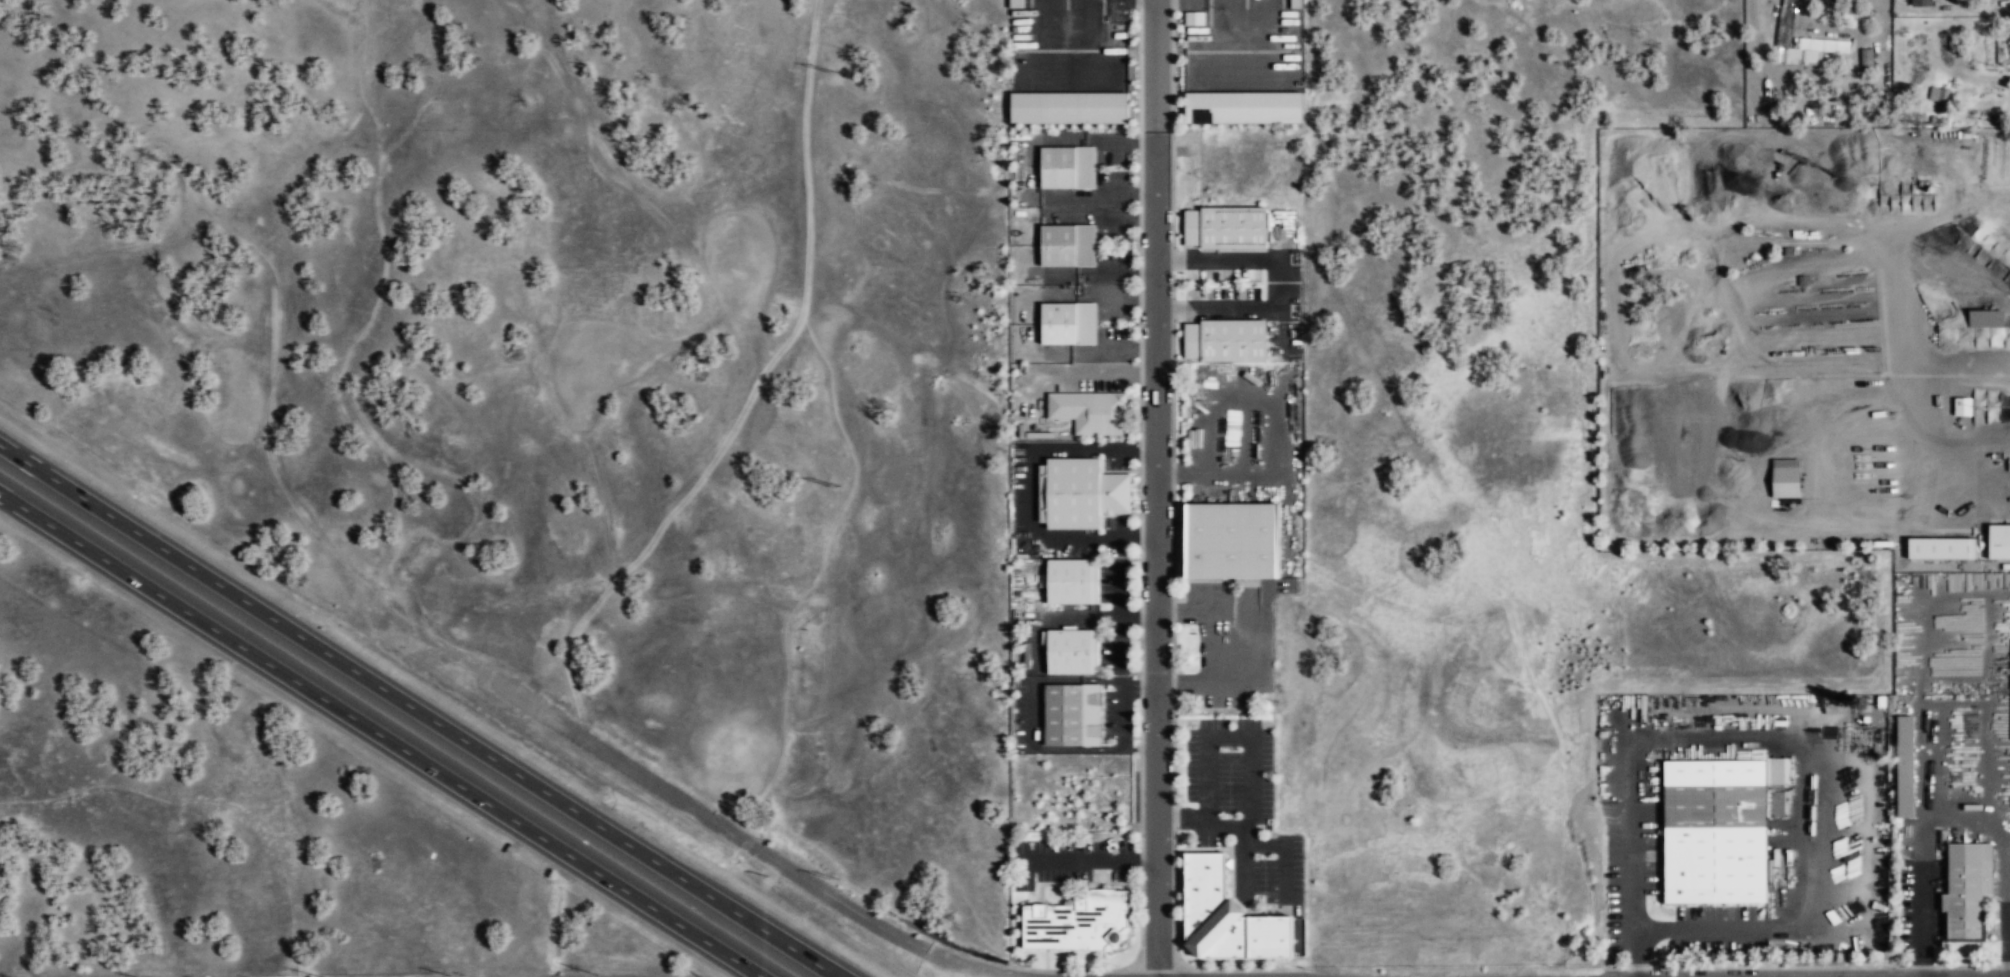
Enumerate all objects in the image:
building: (1921, 2)
building: (1295, 4)
building: (1785, 23)
building: (1823, 45)
power tower: (833, 74)
building: (1856, 89)
building: (1938, 98)
building: (1069, 107)
building: (1243, 107)
building: (1067, 167)
building: (1224, 227)
building: (1068, 245)
building: (1986, 318)
building: (1068, 323)
building: (1224, 340)
quarry: (1805, 340)
building: (1099, 413)
building: (1785, 478)
power tower: (836, 483)
building: (1079, 493)
building: (1231, 541)
building: (1999, 542)
building: (1941, 548)
road: (1158, 564)
building: (1072, 582)
building: (1071, 651)
road: (419, 711)
building: (1072, 715)
road: (382, 733)
building: (1904, 766)
road: (702, 813)
building: (1719, 829)
power tower: (838, 878)
building: (1967, 890)
building: (1227, 918)
building: (1079, 923)

